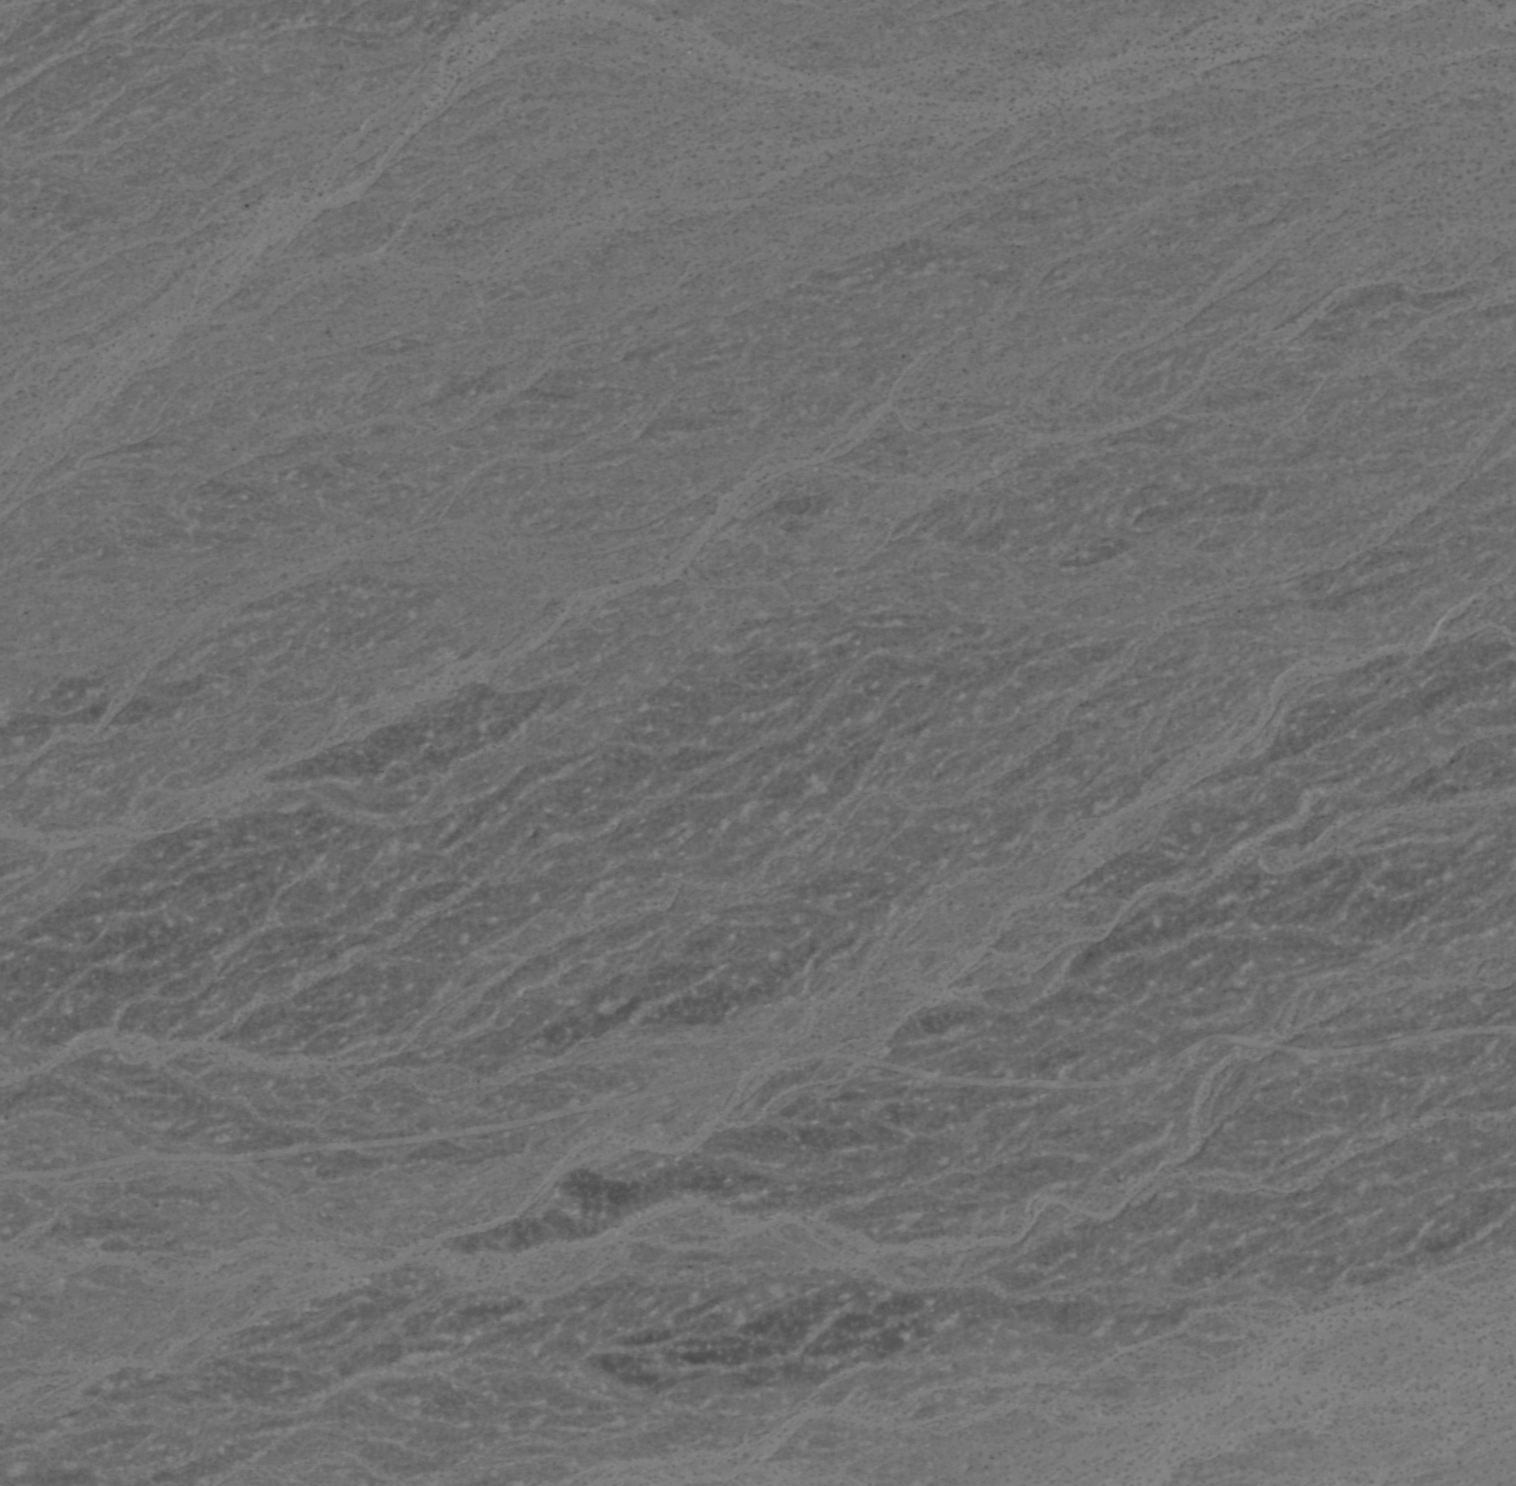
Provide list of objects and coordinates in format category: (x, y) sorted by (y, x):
road: (762, 1071)

